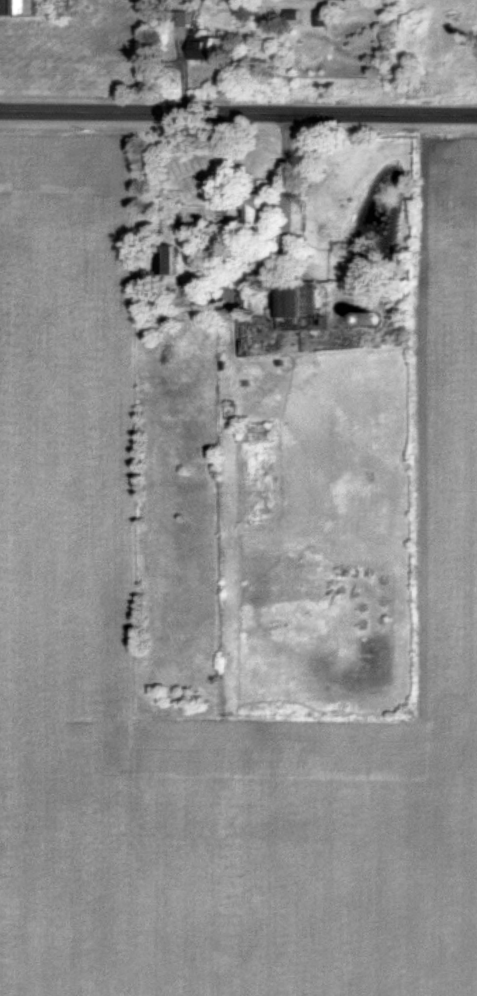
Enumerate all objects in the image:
building: (17, 7)
building: (201, 47)
road: (238, 113)
road: (284, 176)
building: (257, 207)
building: (166, 258)
building: (193, 284)
building: (293, 306)
crop: (65, 625)

